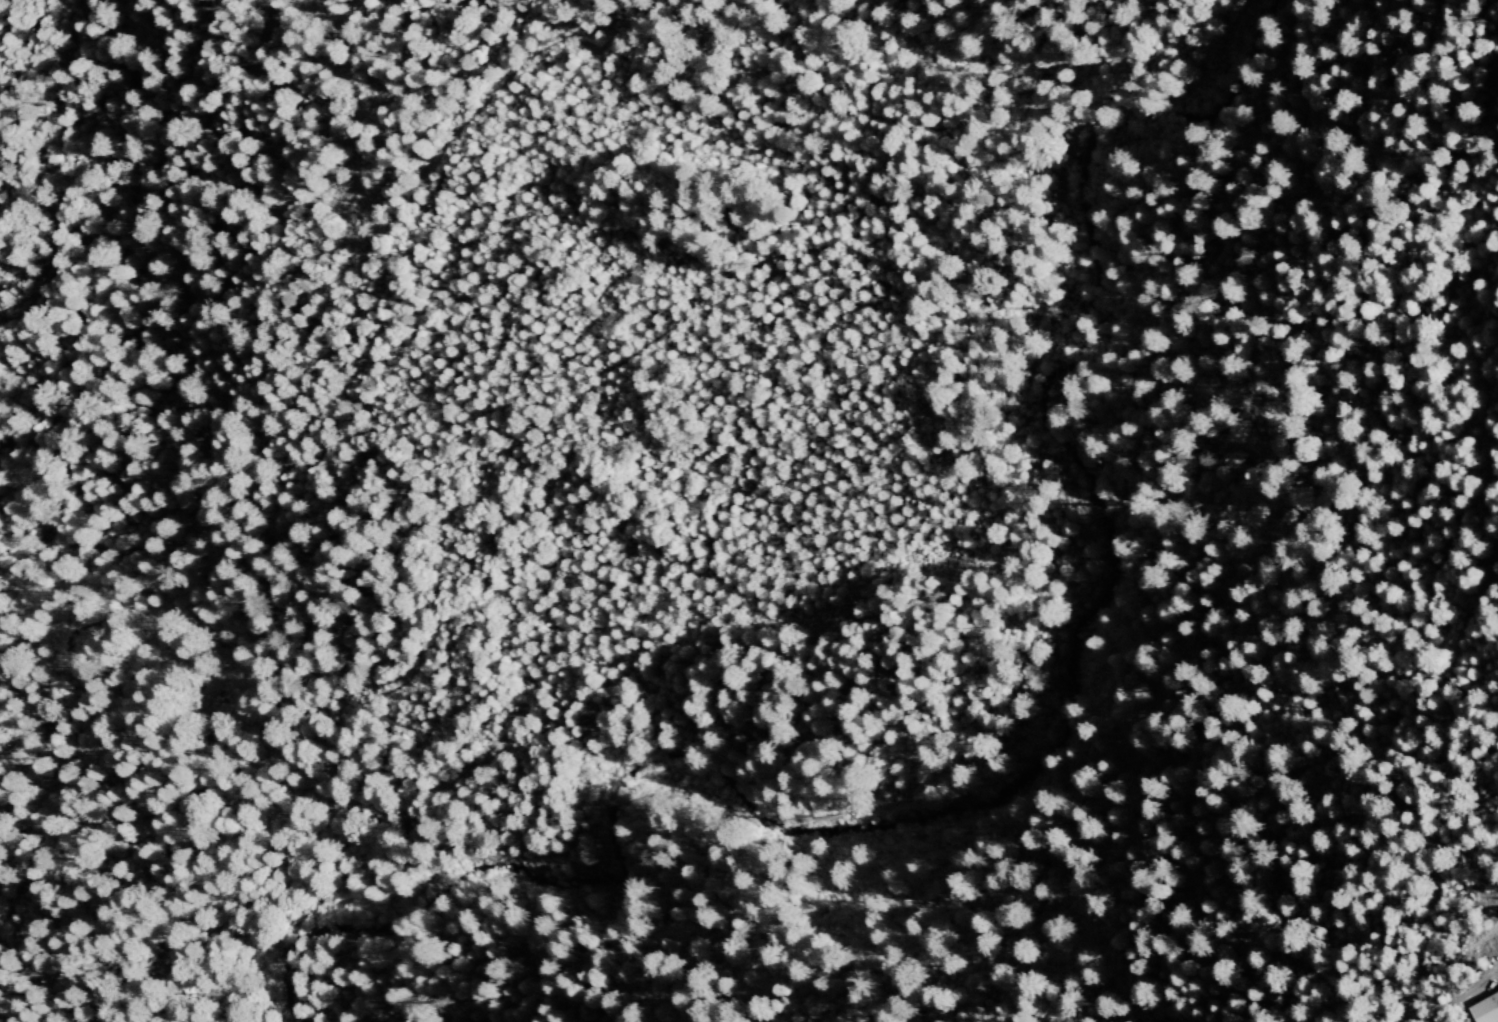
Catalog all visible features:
road: (1441, 990)
building: (1486, 1008)

